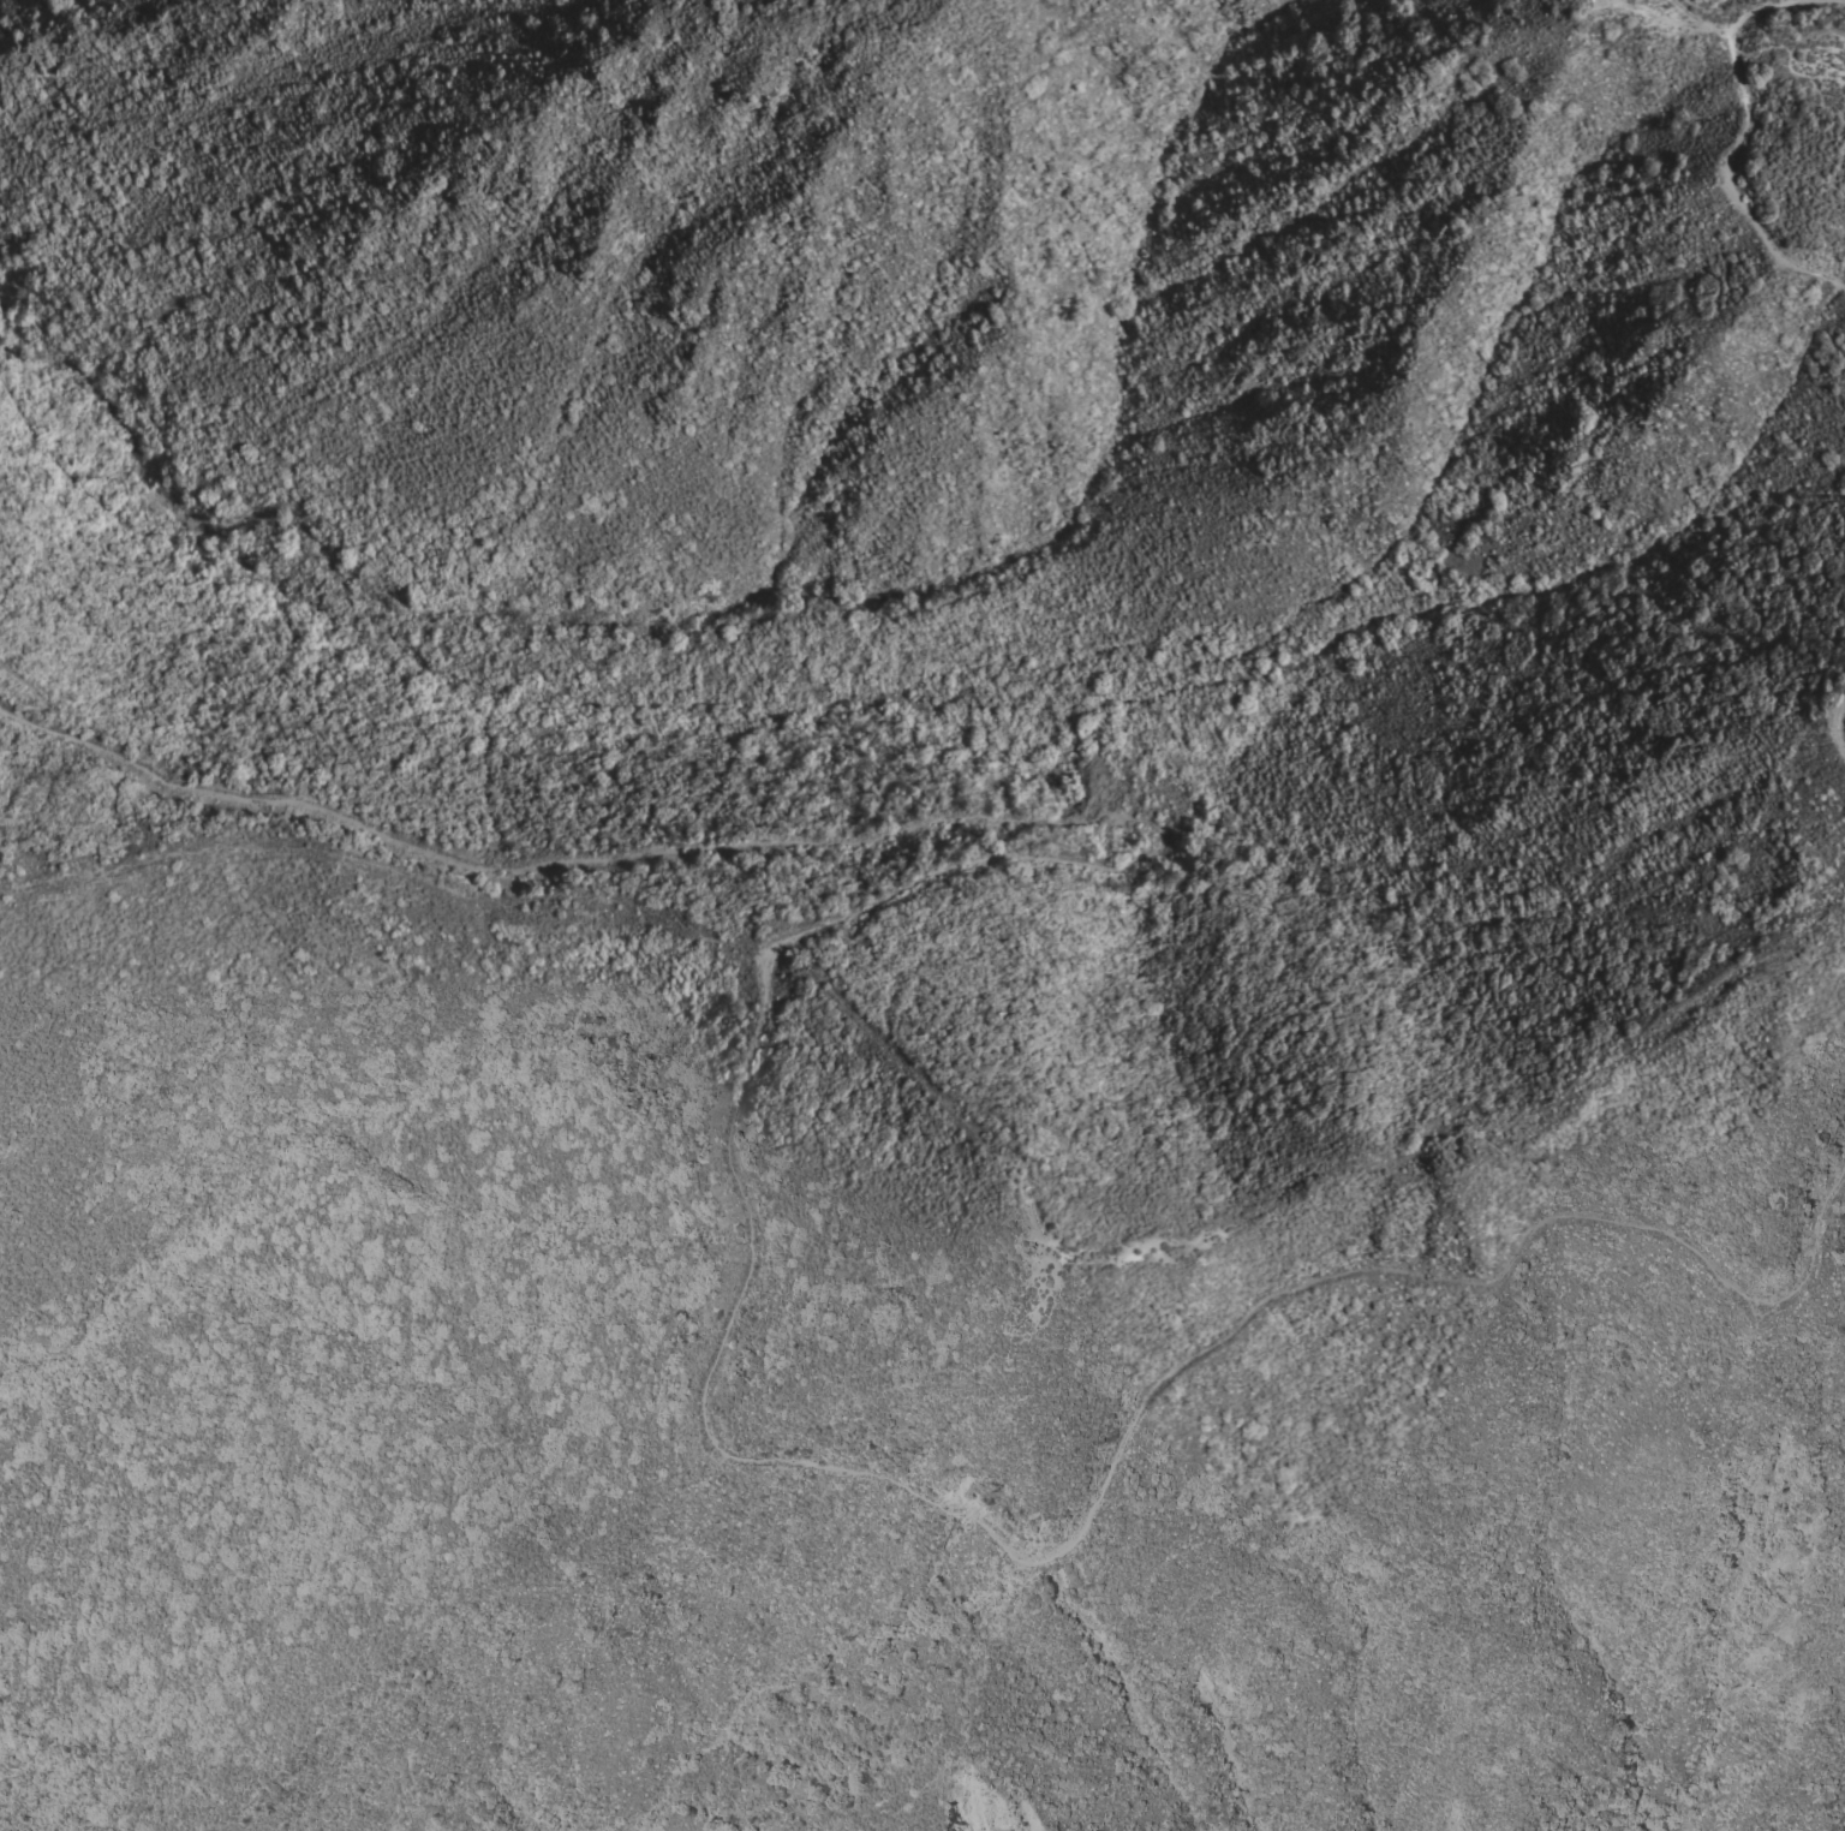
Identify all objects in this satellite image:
road: (1692, 14)
road: (1790, 44)
road: (1709, 163)
road: (179, 555)
road: (28, 698)
road: (1835, 715)
road: (729, 1101)

